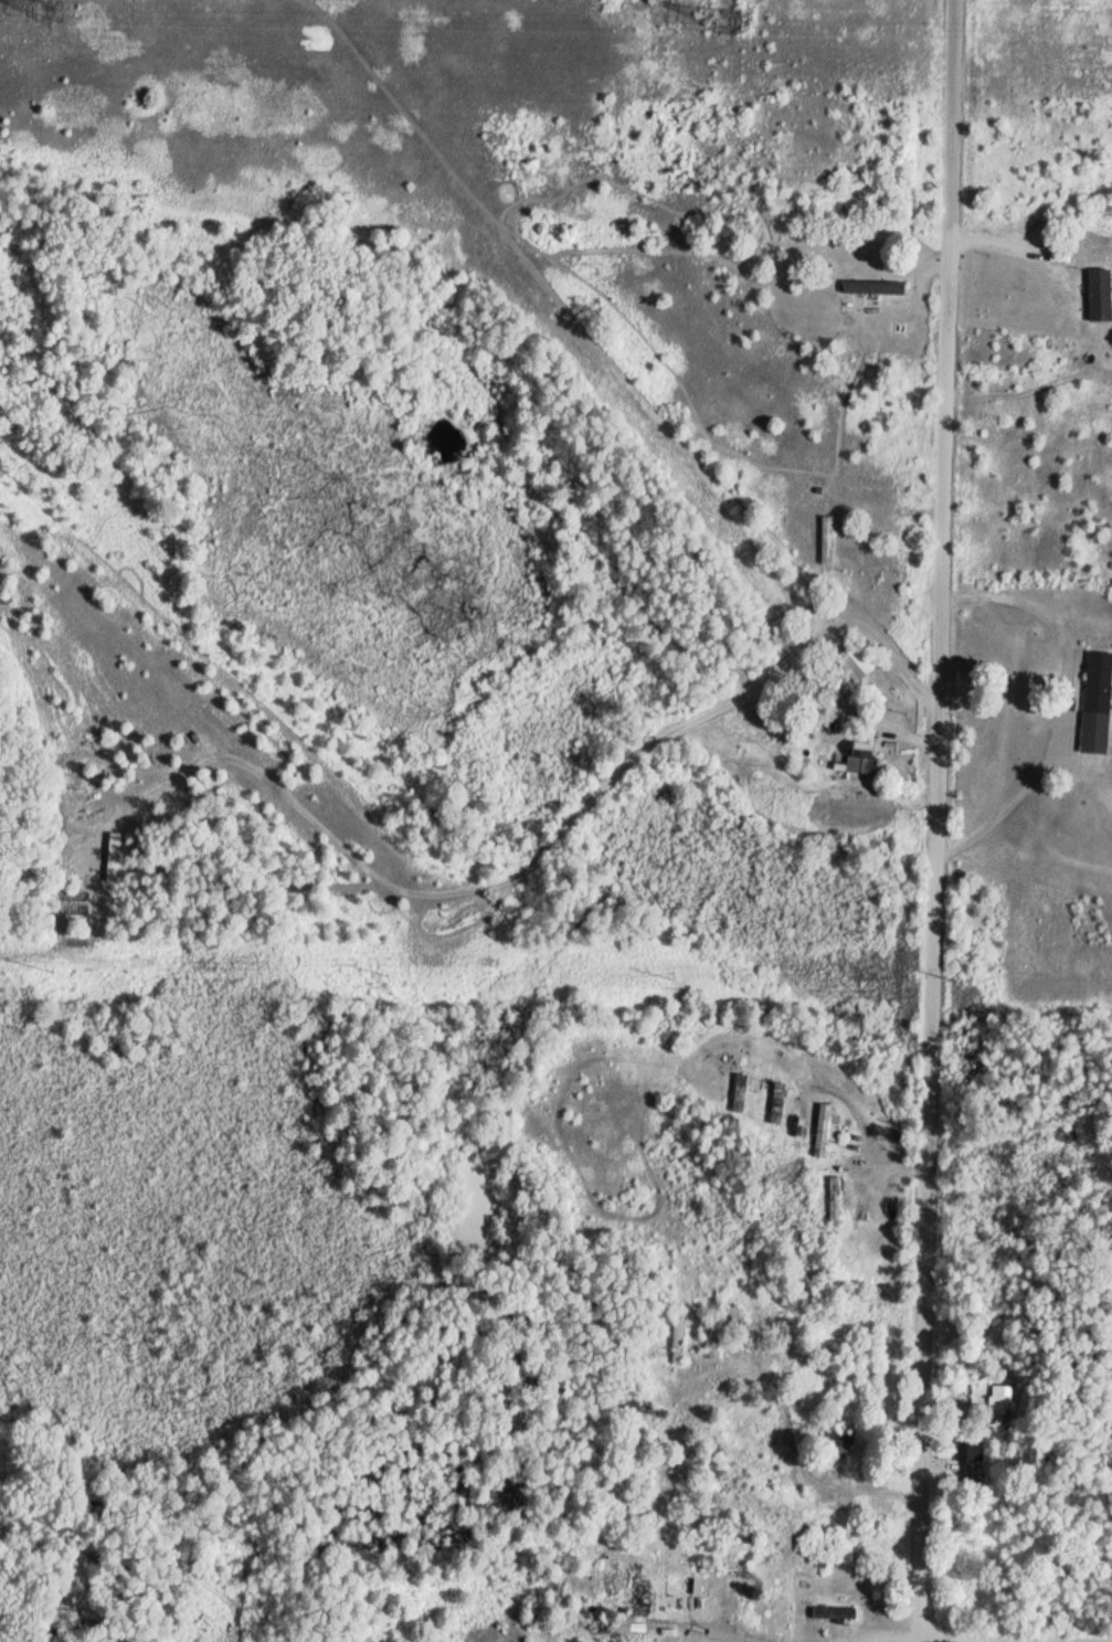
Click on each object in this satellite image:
power tower: (54, 7)
power tower: (730, 14)
building: (876, 287)
building: (1101, 296)
building: (828, 540)
building: (857, 663)
building: (1100, 705)
building: (865, 759)
road: (935, 820)
building: (741, 1094)
building: (779, 1103)
building: (804, 1108)
building: (825, 1131)
building: (837, 1200)
building: (743, 1326)
building: (780, 1330)
building: (710, 1334)
building: (680, 1337)
building: (991, 1398)
building: (646, 1409)
building: (642, 1598)
building: (837, 1613)
building: (261, 1638)
road: (1014, 1639)

